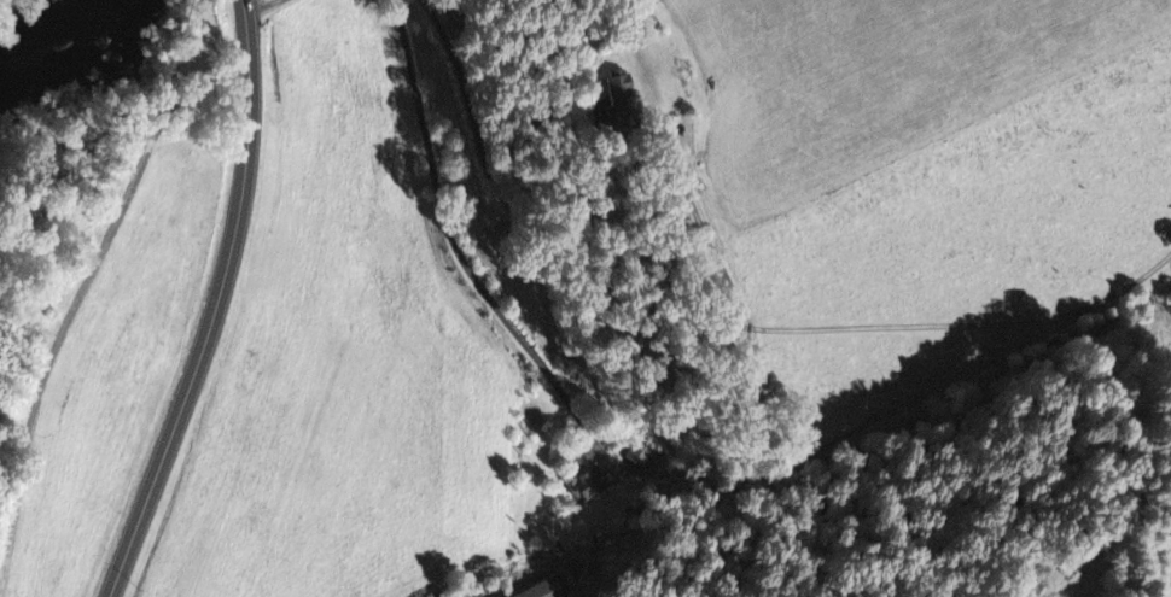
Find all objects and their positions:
road: (262, 6)
river: (30, 30)
building: (623, 104)
road: (709, 235)
road: (461, 252)
road: (216, 305)
road: (718, 322)
building: (641, 452)
building: (590, 481)
building: (549, 589)

